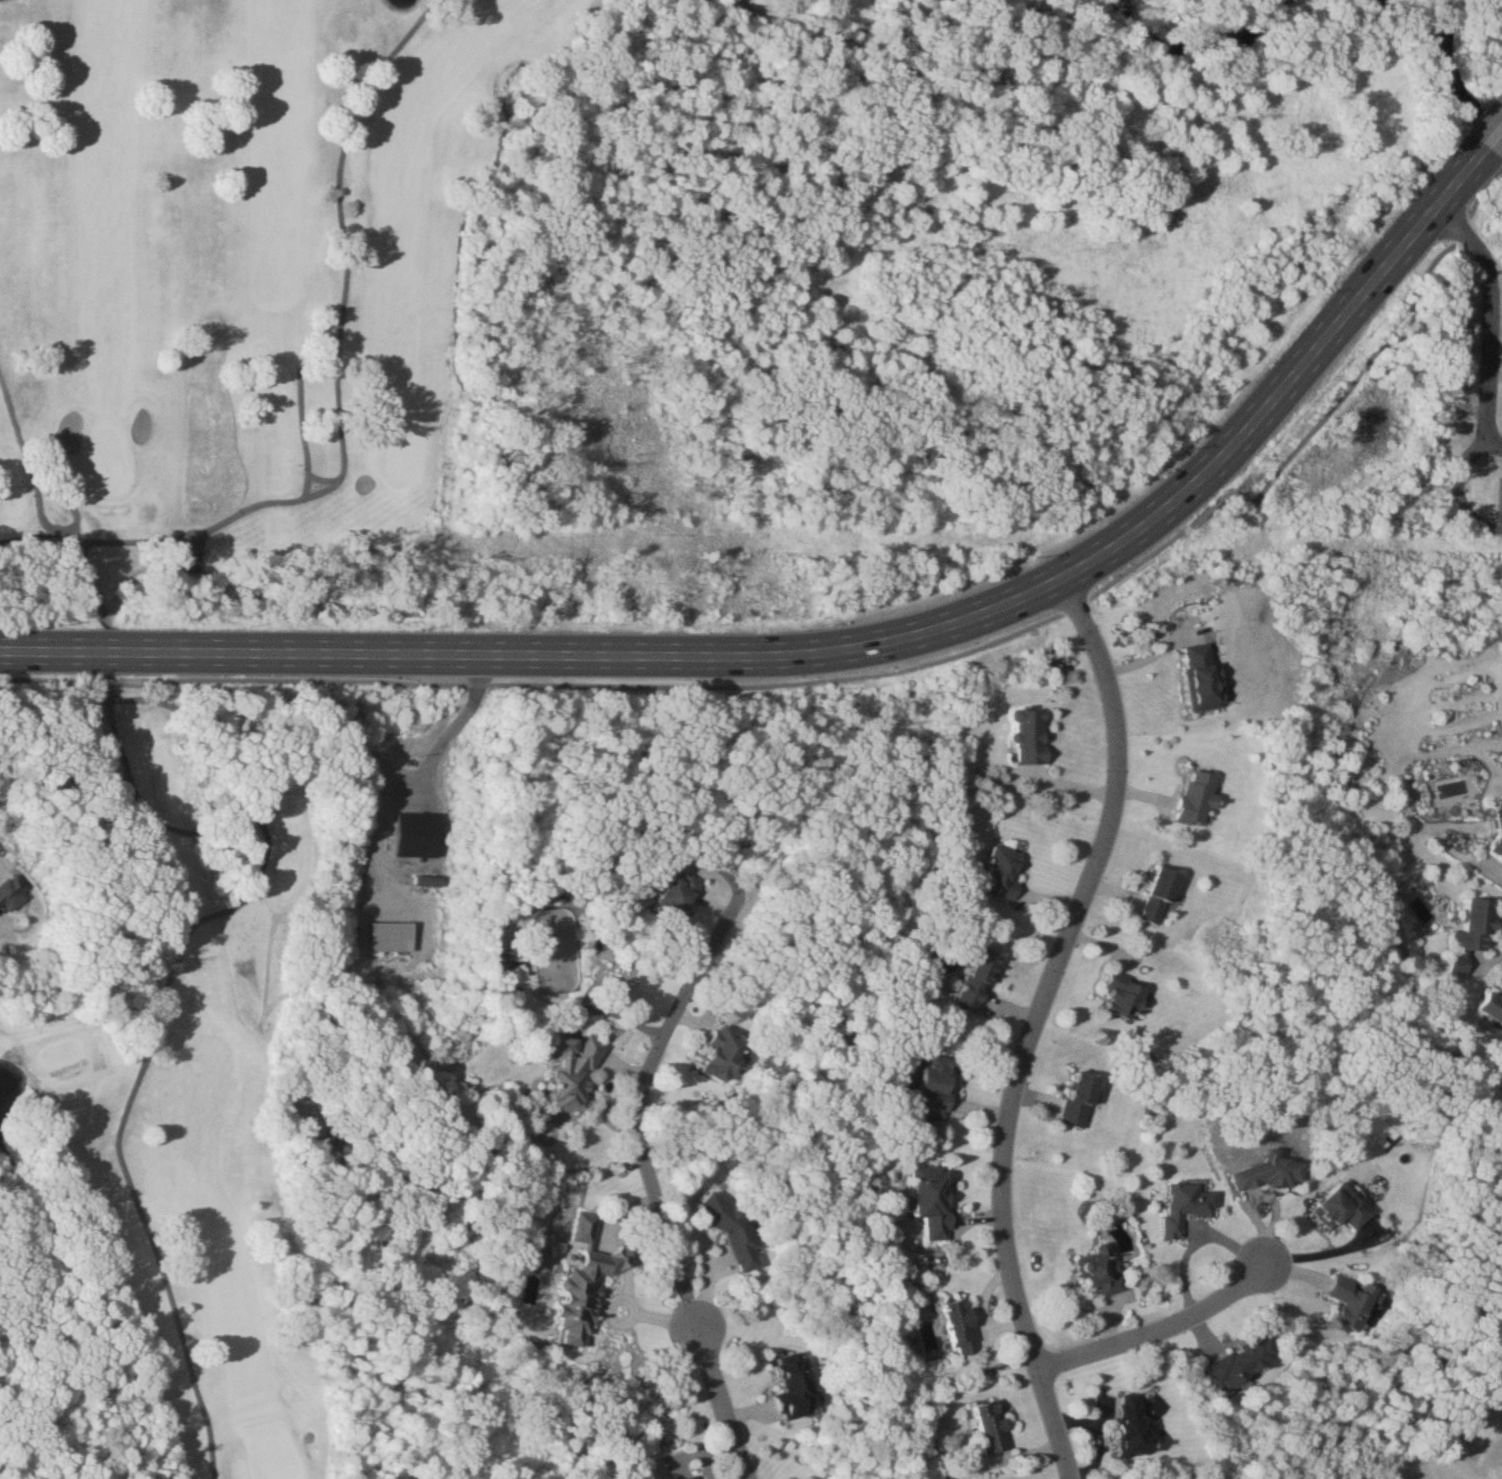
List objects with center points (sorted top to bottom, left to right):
river: (1194, 54)
river: (1454, 78)
road: (1490, 126)
road: (1490, 309)
park: (402, 456)
park: (107, 463)
road: (1462, 482)
parking lot: (1501, 498)
building: (192, 561)
road: (838, 642)
park: (320, 651)
road: (947, 659)
building: (1202, 677)
road: (27, 680)
road: (108, 682)
road: (116, 729)
building: (1032, 737)
road: (425, 772)
building: (1198, 798)
road: (76, 811)
road: (270, 834)
building: (424, 836)
building: (1499, 843)
building: (1005, 872)
building: (436, 882)
building: (679, 896)
building: (1161, 896)
building: (1474, 935)
building: (400, 937)
building: (980, 981)
building: (1127, 998)
building: (1491, 1007)
road: (1038, 1019)
building: (724, 1055)
building: (575, 1072)
building: (940, 1085)
building: (1081, 1100)
road: (639, 1105)
road: (126, 1117)
building: (1272, 1173)
building: (933, 1201)
building: (1187, 1208)
building: (1343, 1208)
building: (733, 1229)
road: (1316, 1251)
building: (539, 1261)
building: (1103, 1273)
building: (586, 1284)
building: (1353, 1303)
building: (961, 1326)
road: (1159, 1330)
building: (1247, 1362)
building: (796, 1384)
road: (722, 1404)
building: (992, 1427)
building: (1136, 1428)
park: (275, 1452)
building: (698, 1478)

